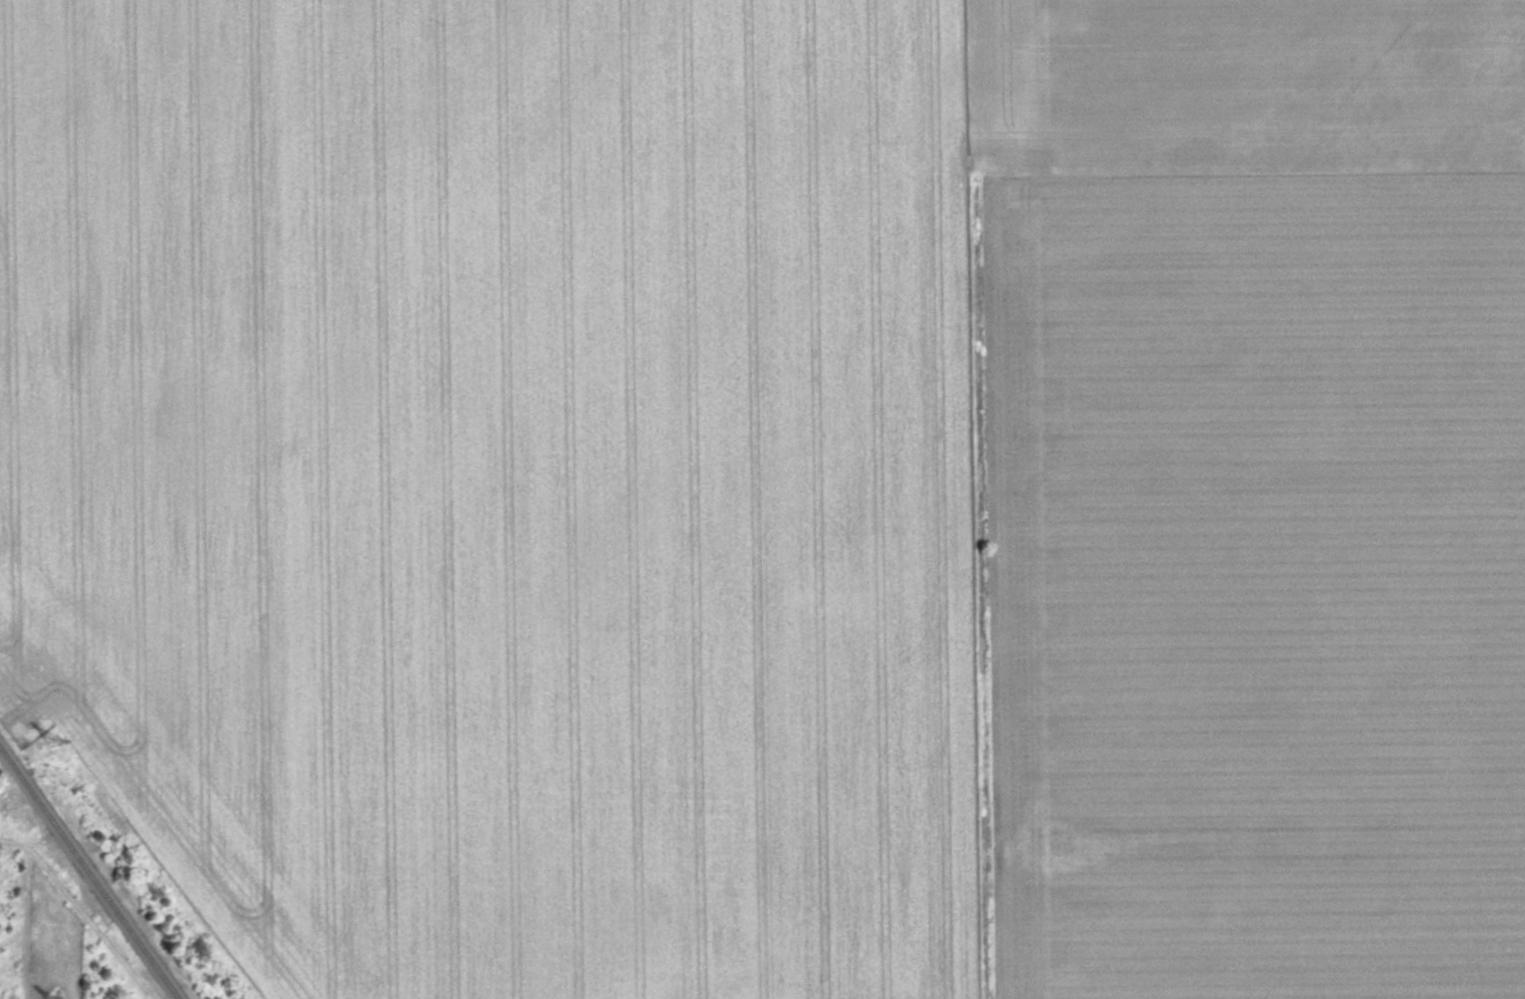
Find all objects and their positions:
power tower: (54, 742)
railway: (88, 874)

